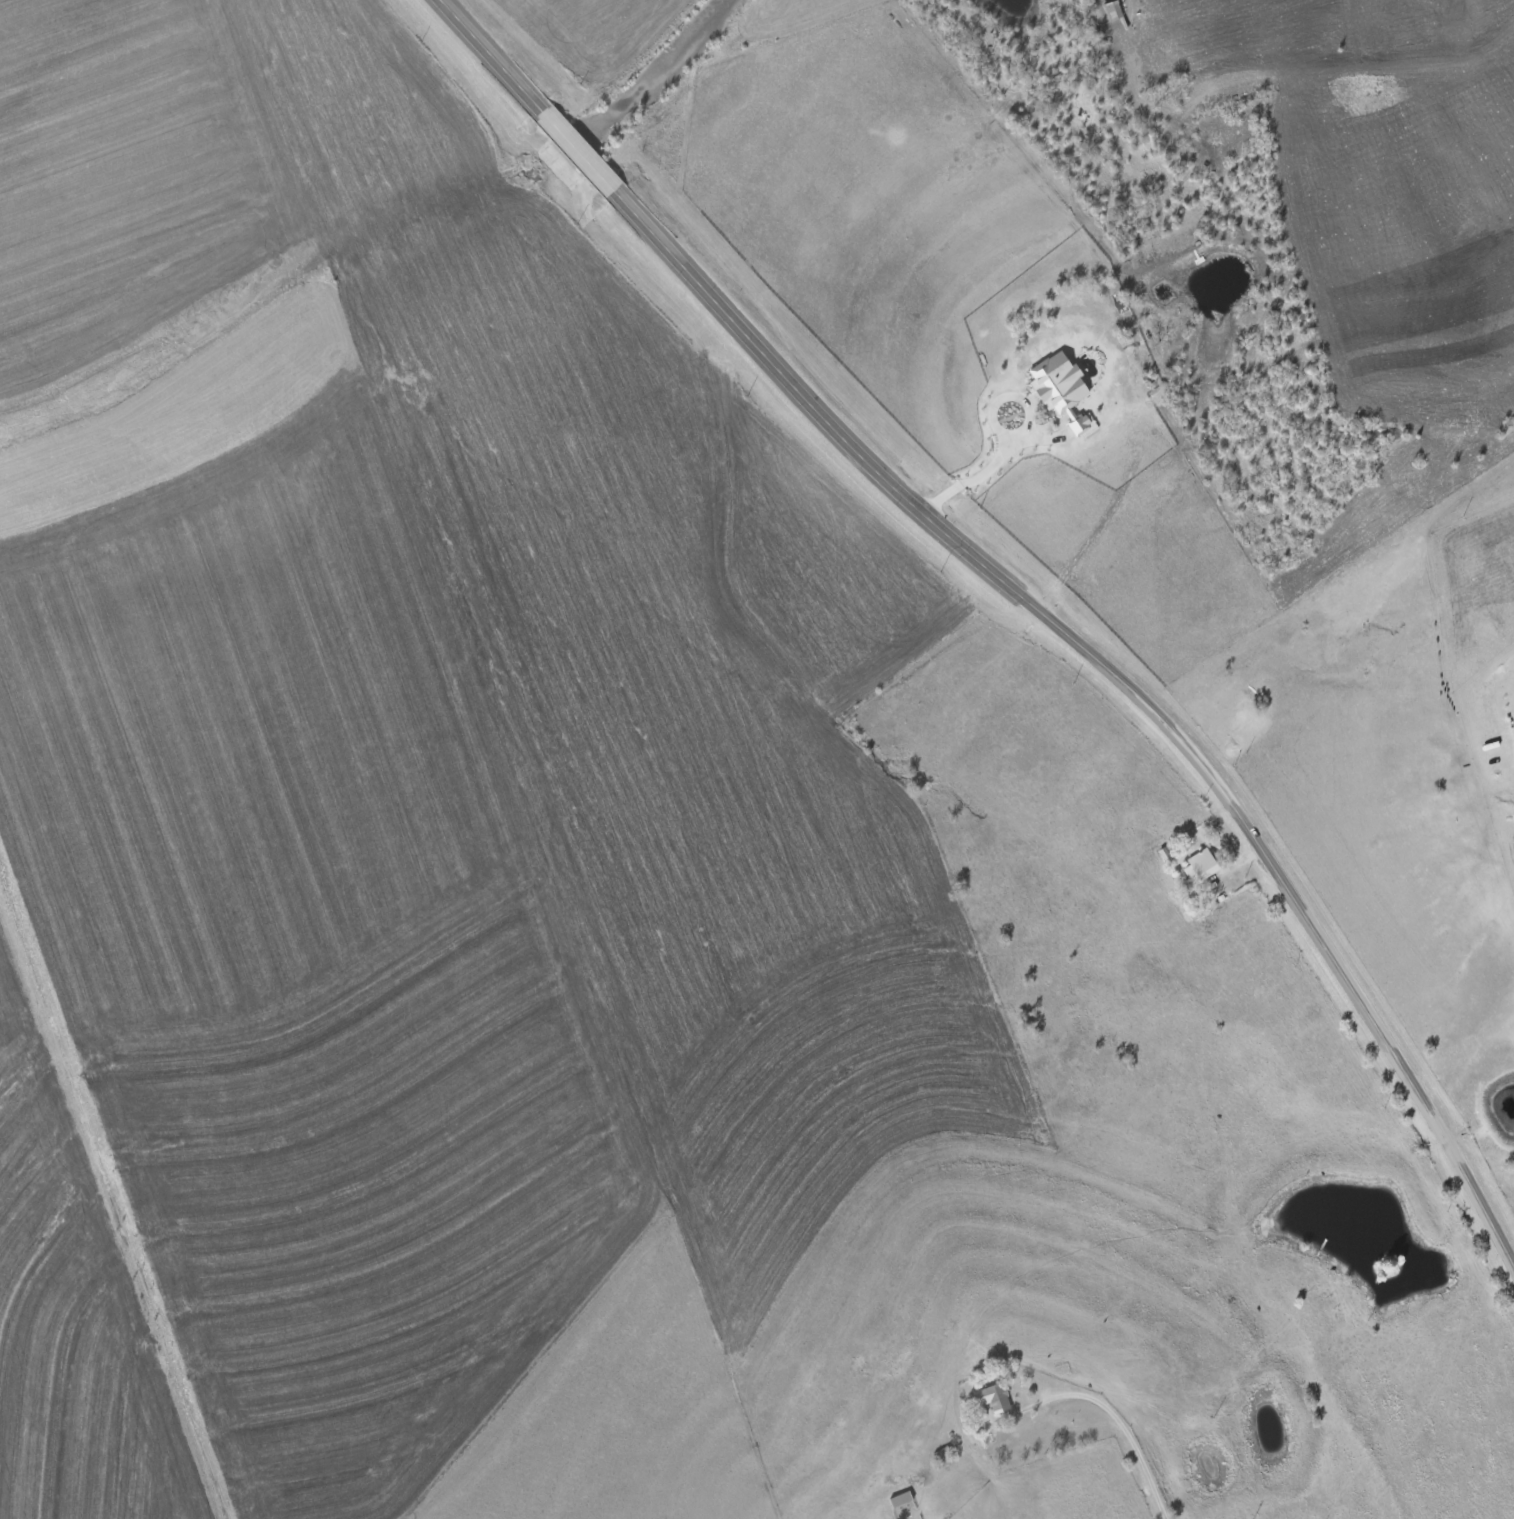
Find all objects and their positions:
building: (1061, 389)
road: (1032, 434)
road: (1016, 588)
building: (1200, 866)
building: (993, 1398)
road: (1119, 1435)
building: (944, 1457)
building: (900, 1499)

